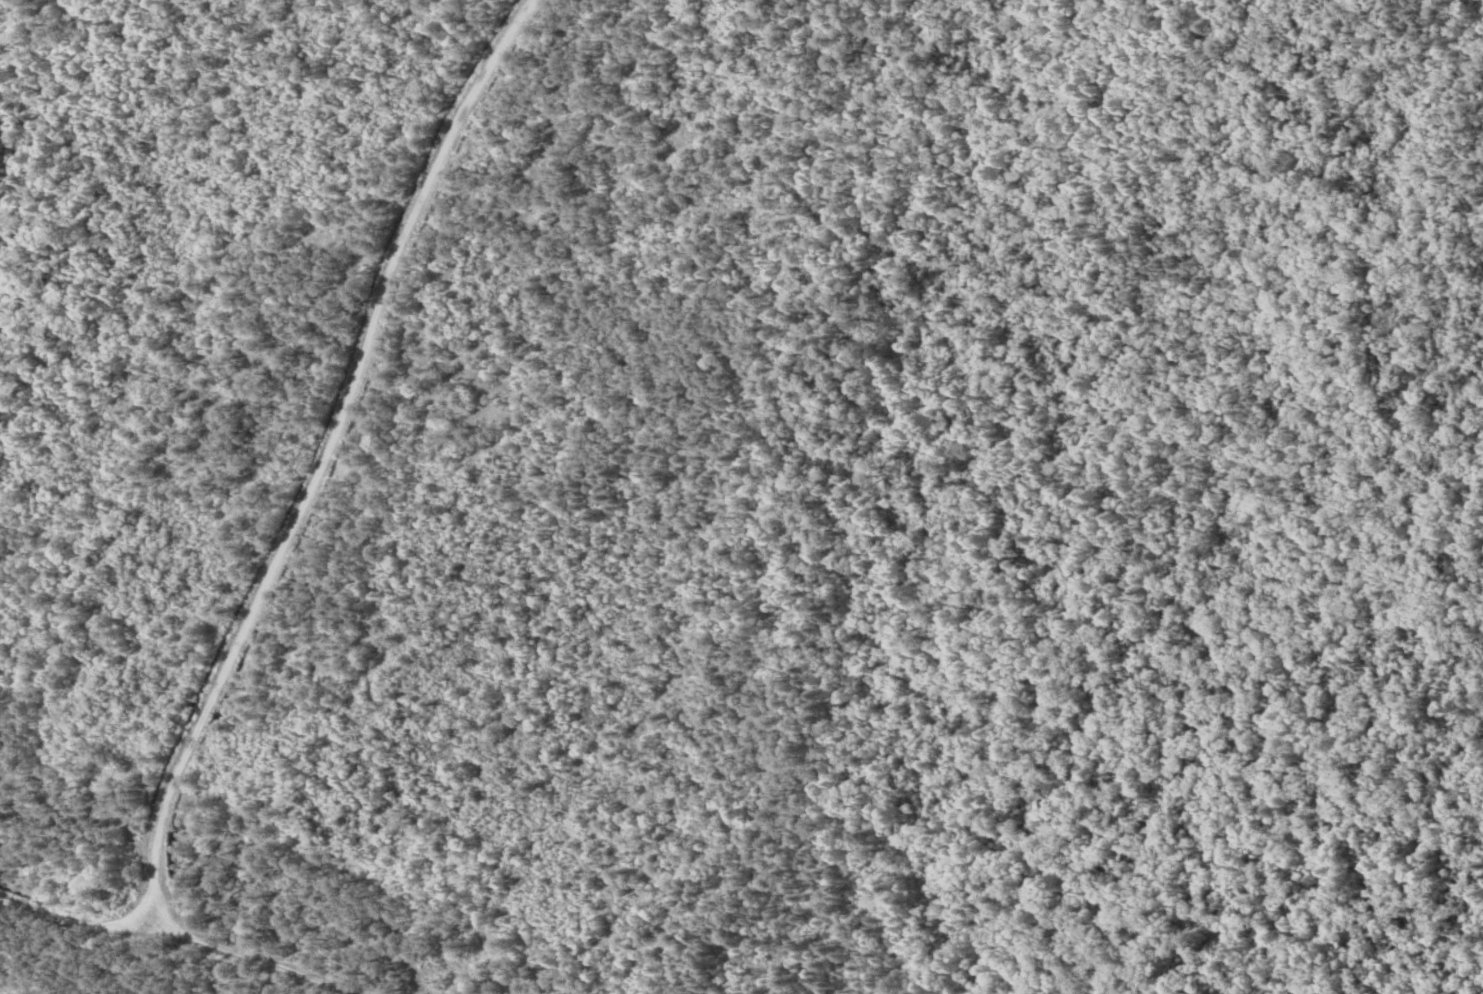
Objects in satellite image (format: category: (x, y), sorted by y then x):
road: (329, 448)
road: (73, 920)
road: (259, 957)

